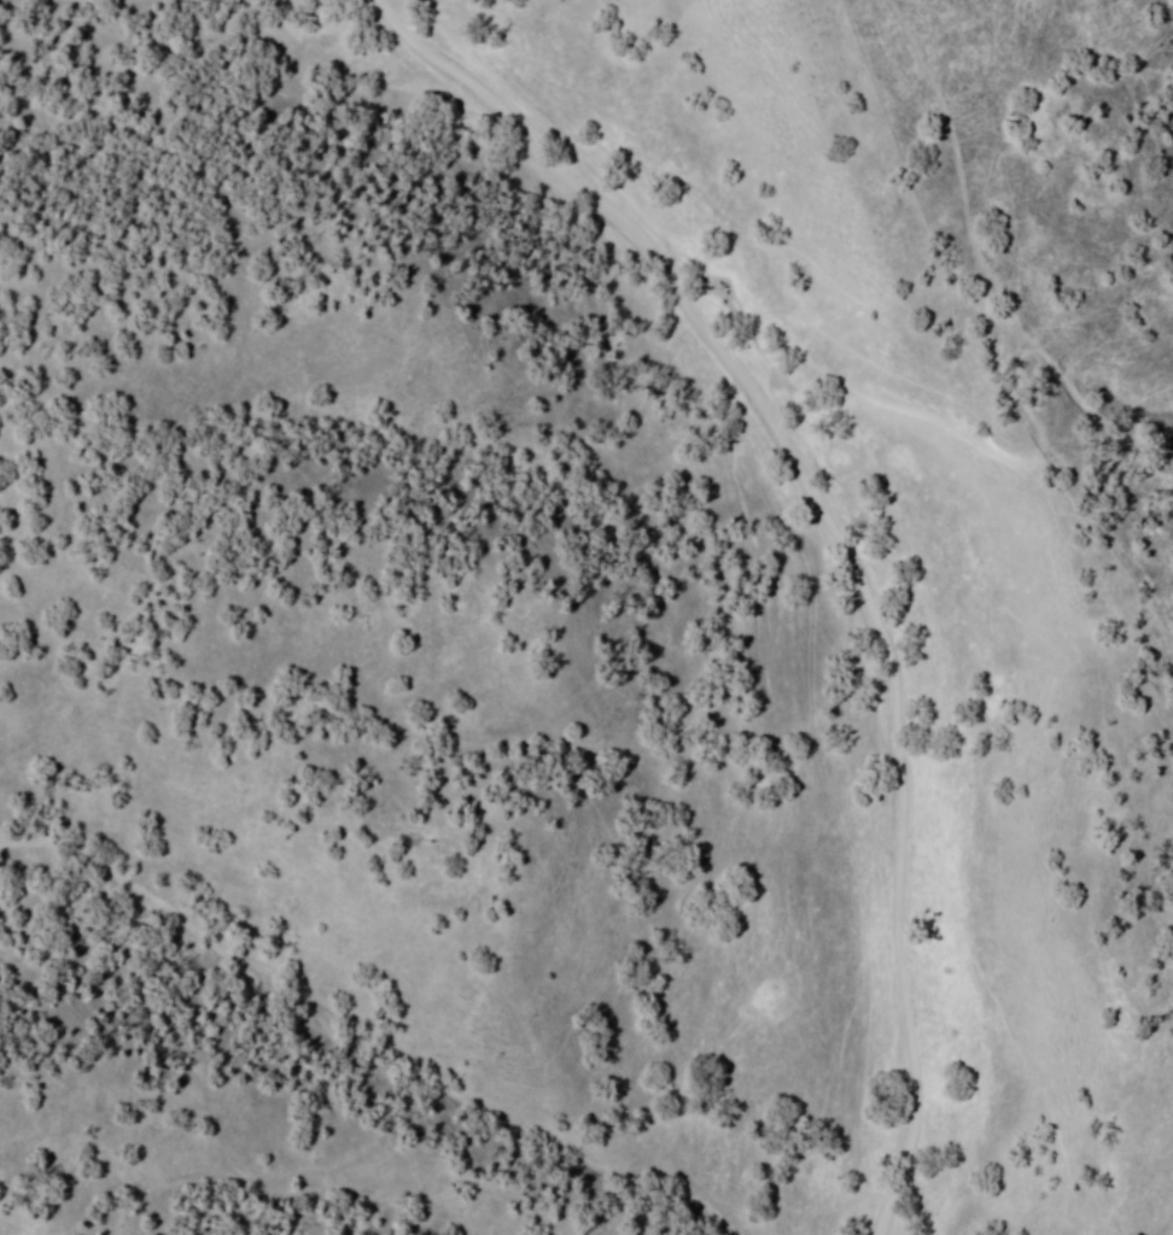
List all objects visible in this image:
road: (852, 522)

